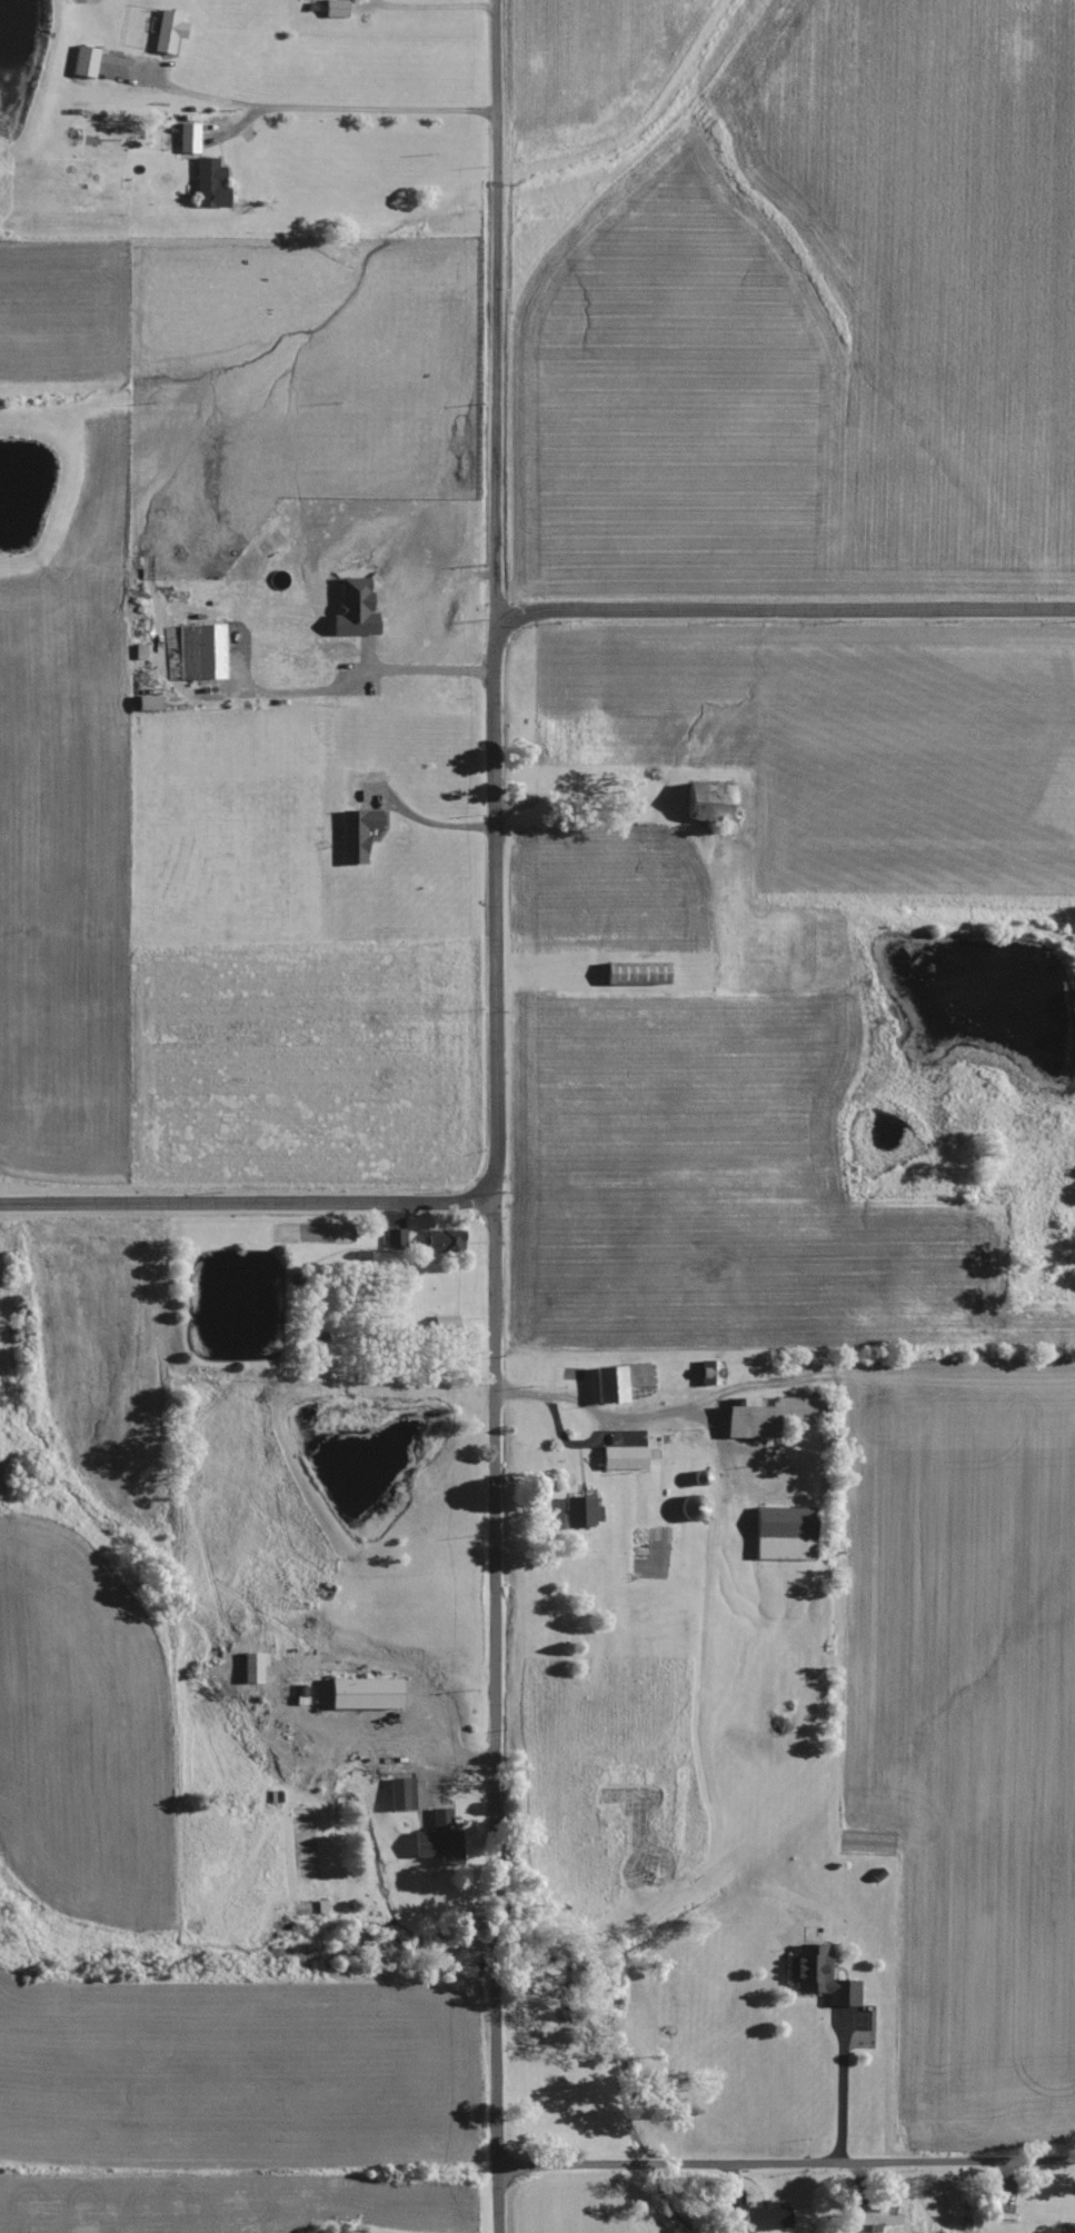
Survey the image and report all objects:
building: (335, 8)
road: (419, 10)
building: (168, 31)
building: (84, 61)
road: (324, 113)
building: (188, 138)
building: (210, 185)
road: (491, 310)
building: (354, 609)
road: (782, 617)
building: (140, 651)
building: (209, 651)
building: (148, 704)
building: (709, 803)
road: (575, 813)
building: (357, 835)
road: (482, 914)
building: (637, 974)
road: (245, 1209)
building: (395, 1238)
building: (445, 1240)
building: (705, 1372)
building: (618, 1380)
road: (520, 1399)
road: (594, 1415)
building: (768, 1415)
building: (624, 1457)
building: (581, 1511)
building: (785, 1533)
building: (366, 1693)
road: (500, 1719)
building: (401, 1794)
building: (438, 1835)
building: (820, 1976)
road: (848, 2086)
road: (788, 2163)
building: (877, 2215)
building: (767, 2216)

